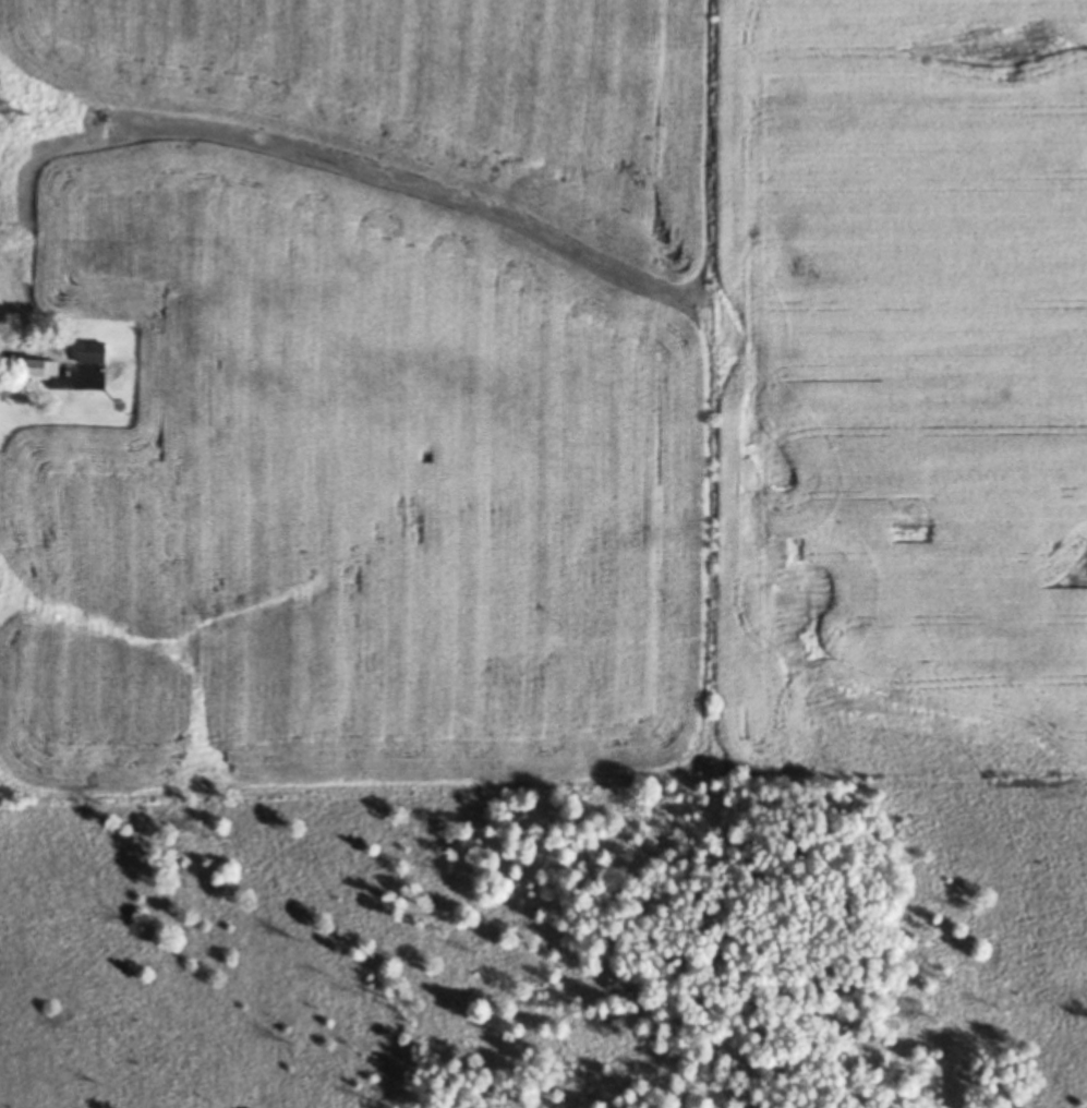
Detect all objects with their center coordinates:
building: (94, 353)

